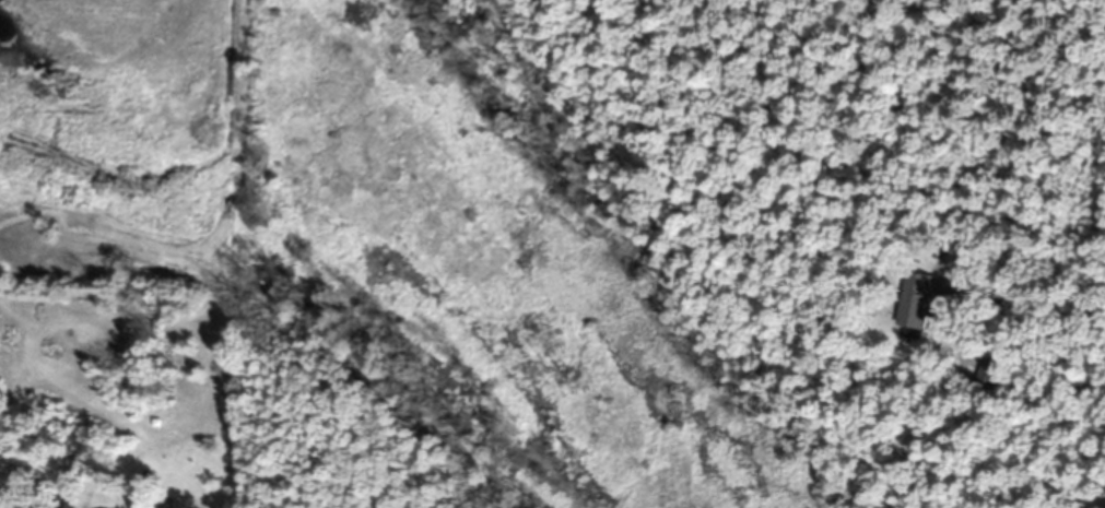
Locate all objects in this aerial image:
crop: (124, 139)
building: (992, 377)
building: (1032, 378)

